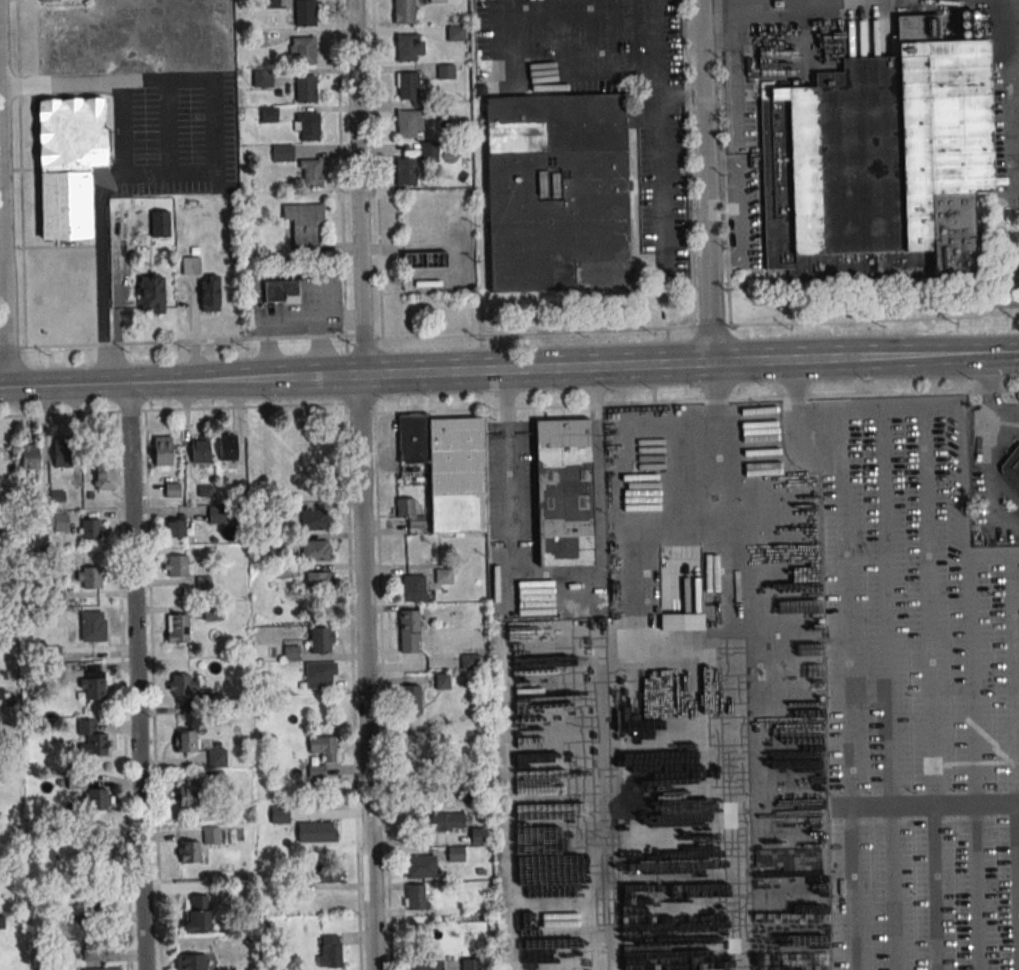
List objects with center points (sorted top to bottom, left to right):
building: (437, 2)
building: (270, 4)
road: (832, 9)
building: (404, 12)
building: (305, 13)
road: (1012, 24)
building: (455, 34)
building: (257, 39)
building: (407, 48)
building: (304, 51)
building: (445, 73)
building: (263, 77)
road: (1017, 78)
road: (737, 82)
road: (110, 84)
road: (538, 84)
building: (408, 87)
building: (305, 90)
road: (672, 95)
road: (692, 95)
road: (1016, 111)
building: (269, 116)
building: (408, 124)
road: (214, 127)
building: (308, 128)
road: (659, 132)
parking lot: (171, 133)
building: (282, 154)
building: (71, 166)
road: (340, 167)
building: (878, 167)
road: (376, 169)
building: (405, 172)
road: (20, 174)
building: (311, 174)
road: (105, 180)
road: (701, 183)
building: (556, 194)
road: (739, 210)
building: (159, 223)
building: (304, 229)
power substation: (438, 242)
road: (4, 252)
building: (190, 265)
road: (105, 284)
building: (427, 285)
building: (280, 291)
building: (208, 293)
building: (151, 294)
road: (509, 333)
road: (994, 358)
road: (915, 360)
road: (578, 369)
road: (148, 382)
road: (988, 393)
road: (900, 407)
road: (418, 412)
road: (1005, 429)
road: (809, 444)
building: (227, 448)
building: (162, 450)
building: (199, 450)
building: (62, 453)
building: (29, 454)
building: (1011, 465)
building: (449, 468)
road: (991, 474)
building: (104, 475)
road: (964, 481)
road: (362, 484)
building: (172, 491)
building: (563, 493)
building: (411, 513)
building: (216, 515)
road: (347, 515)
building: (314, 520)
building: (57, 522)
road: (1005, 522)
building: (174, 527)
building: (90, 530)
building: (314, 550)
road: (992, 556)
road: (842, 562)
building: (178, 566)
building: (282, 571)
building: (91, 577)
building: (443, 577)
building: (318, 581)
building: (203, 583)
building: (411, 589)
road: (556, 592)
building: (210, 610)
building: (681, 622)
building: (92, 627)
building: (176, 628)
building: (408, 632)
building: (321, 640)
building: (291, 654)
building: (470, 662)
building: (318, 674)
road: (135, 676)
building: (443, 681)
building: (181, 686)
building: (95, 690)
building: (410, 699)
building: (90, 739)
building: (186, 742)
building: (325, 748)
building: (216, 758)
building: (216, 779)
building: (188, 797)
building: (96, 800)
road: (851, 804)
building: (279, 815)
building: (449, 821)
building: (316, 832)
building: (210, 835)
building: (478, 836)
building: (190, 853)
building: (455, 854)
building: (99, 855)
building: (420, 867)
building: (327, 873)
building: (415, 897)
building: (100, 903)
building: (197, 913)
building: (329, 952)
building: (191, 962)
building: (426, 963)
building: (470, 964)
building: (100, 969)

